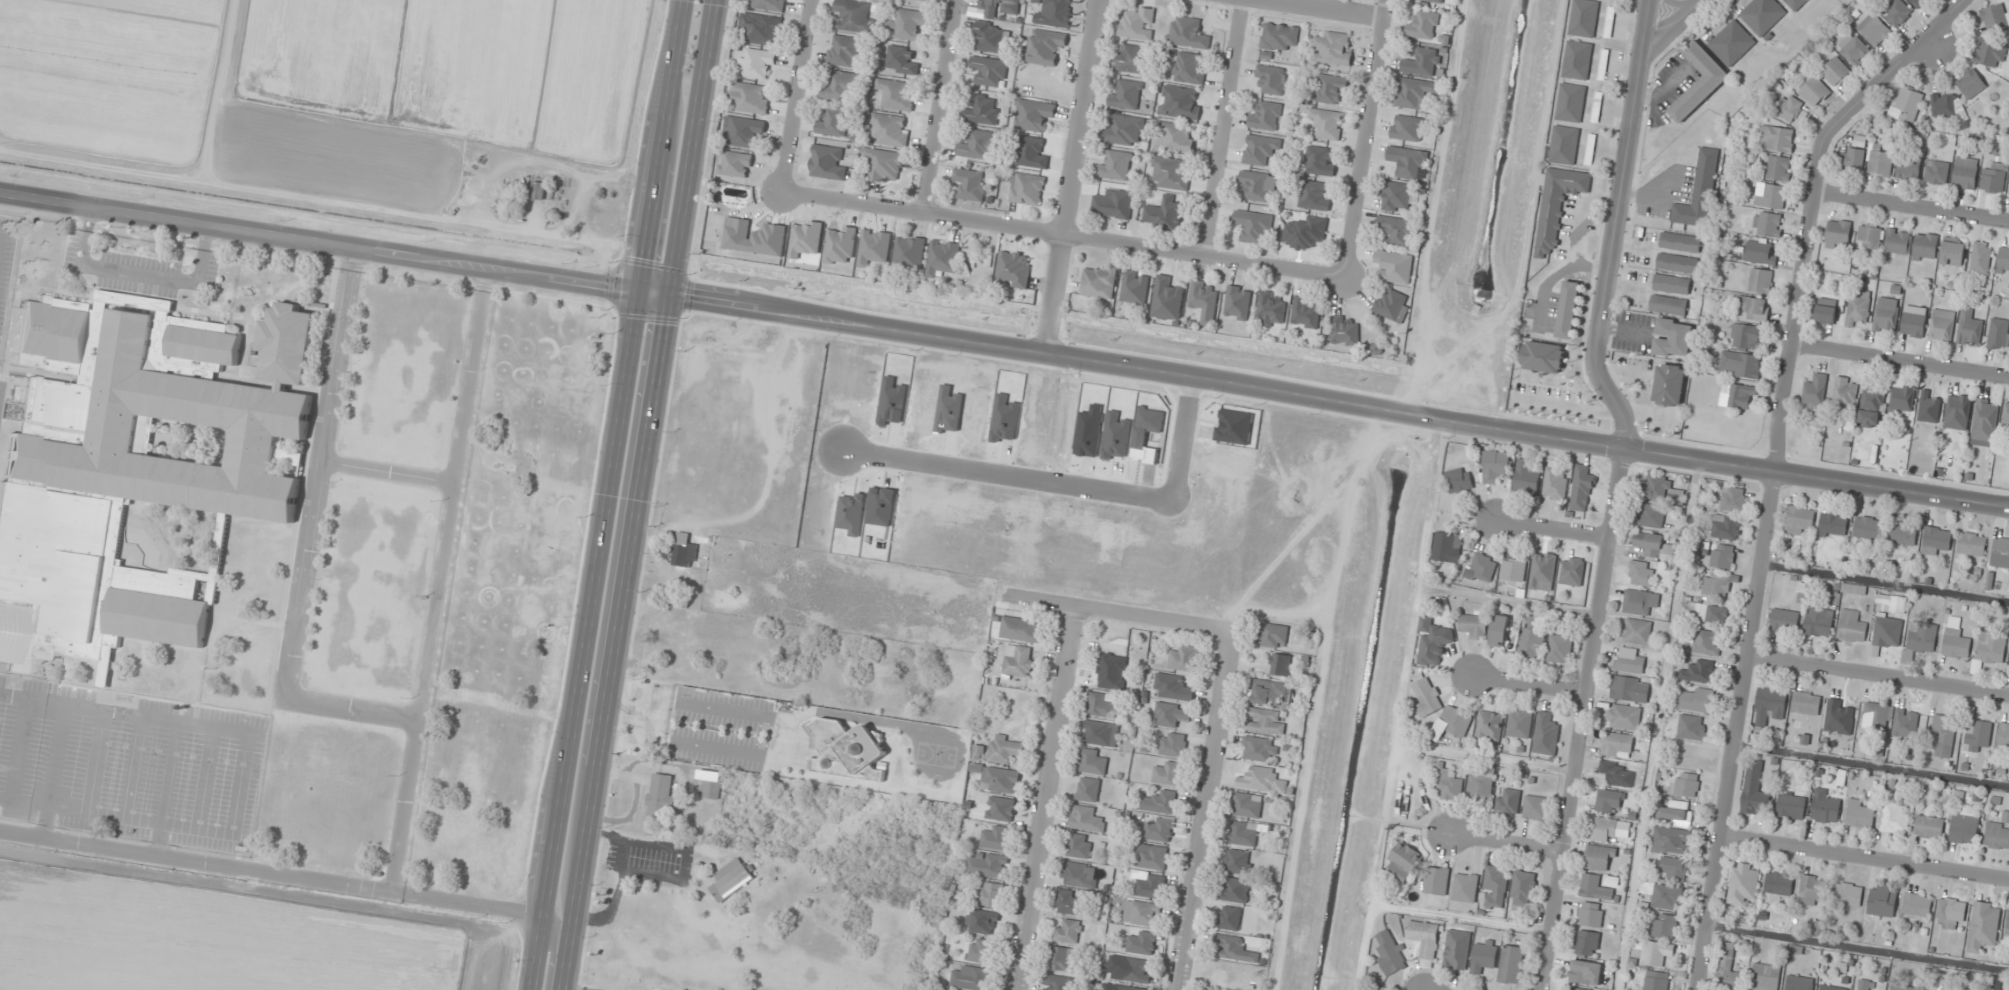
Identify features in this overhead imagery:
building: (925, 0)
building: (1431, 1)
building: (1916, 2)
building: (767, 4)
building: (1795, 4)
building: (998, 7)
road: (1324, 10)
building: (1897, 12)
building: (1055, 13)
building: (1762, 15)
building: (853, 16)
building: (1995, 16)
building: (1584, 18)
road: (1677, 22)
building: (907, 24)
building: (1138, 24)
building: (1423, 24)
building: (761, 28)
building: (1874, 29)
building: (1188, 33)
building: (1279, 36)
building: (989, 37)
building: (1732, 43)
building: (1044, 47)
building: (1333, 49)
building: (844, 50)
building: (1854, 50)
building: (1990, 54)
building: (1131, 58)
building: (901, 60)
building: (1577, 60)
building: (1422, 61)
building: (757, 64)
building: (1188, 68)
building: (988, 71)
building: (1835, 71)
building: (1270, 79)
building: (1699, 81)
building: (1970, 84)
building: (842, 87)
building: (1330, 88)
building: (1814, 91)
building: (1414, 92)
building: (895, 95)
building: (1125, 95)
road: (797, 96)
building: (750, 97)
building: (1179, 102)
building: (1571, 102)
building: (1906, 104)
building: (1945, 104)
road: (940, 106)
building: (1597, 106)
building: (1789, 107)
building: (983, 110)
building: (1034, 115)
building: (1265, 116)
building: (833, 122)
building: (1327, 123)
road: (1225, 127)
building: (1408, 127)
building: (888, 130)
building: (1123, 130)
building: (744, 131)
building: (1174, 137)
road: (1366, 138)
building: (1776, 138)
building: (978, 144)
road: (661, 145)
building: (1564, 145)
building: (1260, 149)
building: (1590, 149)
building: (1032, 152)
building: (1854, 155)
building: (1319, 161)
building: (1879, 161)
building: (1408, 162)
building: (827, 163)
building: (735, 164)
building: (884, 164)
building: (1115, 165)
building: (1908, 167)
building: (1779, 168)
building: (1171, 172)
building: (1936, 172)
building: (1965, 173)
road: (1073, 177)
building: (1993, 177)
building: (970, 184)
building: (1257, 185)
building: (1027, 189)
building: (538, 190)
building: (1699, 192)
building: (1315, 195)
building: (1771, 195)
building: (1398, 196)
building: (1114, 204)
building: (1557, 205)
road: (1911, 205)
building: (1163, 214)
building: (1767, 224)
building: (1254, 225)
road: (1612, 228)
building: (1399, 231)
road: (1063, 232)
building: (1303, 232)
building: (1838, 232)
building: (753, 237)
building: (1869, 237)
building: (805, 238)
building: (1897, 241)
road: (319, 242)
building: (1680, 242)
building: (840, 246)
building: (874, 247)
building: (1925, 247)
building: (1760, 251)
building: (1953, 251)
building: (909, 252)
building: (943, 257)
building: (1981, 258)
building: (2003, 258)
building: (1677, 262)
building: (1394, 266)
building: (1013, 269)
building: (1761, 280)
building: (1098, 281)
building: (1671, 283)
building: (1134, 286)
road: (653, 292)
traffic signals: (667, 294)
building: (1167, 299)
building: (1204, 300)
building: (1237, 303)
building: (1392, 305)
building: (1668, 305)
building: (1753, 307)
building: (1858, 307)
building: (1271, 309)
building: (1568, 309)
building: (1826, 310)
building: (1306, 312)
building: (1886, 315)
building: (1914, 321)
building: (1942, 325)
building: (1970, 328)
building: (1345, 330)
building: (1998, 334)
building: (1746, 336)
building: (1672, 338)
building: (1543, 357)
road: (1899, 359)
building: (1739, 364)
building: (1669, 384)
building: (1815, 390)
building: (1845, 392)
building: (1738, 395)
building: (1902, 398)
road: (1337, 402)
building: (1871, 405)
building: (1929, 408)
building: (1958, 411)
building: (2006, 414)
building: (1985, 422)
building: (1495, 465)
road: (1772, 466)
road: (387, 470)
building: (1526, 479)
building: (1459, 480)
building: (1555, 482)
building: (1582, 488)
building: (1661, 489)
road: (636, 494)
building: (1733, 499)
building: (1650, 515)
building: (1799, 519)
building: (1834, 524)
building: (1726, 527)
building: (1868, 527)
road: (1552, 529)
building: (1902, 532)
road: (310, 537)
building: (1936, 540)
building: (1972, 543)
building: (1654, 545)
building: (1446, 546)
building: (684, 550)
building: (2000, 552)
building: (1722, 556)
building: (1481, 567)
building: (1514, 569)
building: (1572, 570)
building: (1543, 571)
building: (1641, 573)
road: (437, 579)
road: (1886, 582)
building: (1717, 583)
road: (1506, 601)
building: (1641, 601)
building: (1892, 602)
road: (1119, 612)
building: (1708, 612)
building: (1784, 620)
building: (1819, 622)
building: (1473, 625)
building: (1852, 626)
building: (1020, 629)
building: (1499, 630)
building: (1635, 630)
building: (1888, 630)
building: (11, 633)
building: (1273, 635)
building: (1922, 636)
road: (584, 640)
building: (1434, 640)
building: (1704, 641)
building: (1532, 643)
building: (1955, 643)
building: (682, 646)
building: (1991, 647)
building: (1559, 648)
building: (1184, 658)
building: (1630, 659)
building: (1018, 660)
building: (1281, 664)
building: (1111, 671)
building: (1699, 672)
road: (1879, 675)
road: (1528, 684)
building: (1172, 687)
building: (1630, 688)
building: (1269, 692)
building: (1427, 696)
road: (13, 698)
building: (1693, 699)
building: (1806, 703)
building: (1100, 704)
road: (1398, 704)
building: (1769, 705)
road: (124, 714)
building: (1170, 714)
building: (1623, 716)
building: (1839, 716)
building: (1876, 716)
building: (1457, 720)
road: (1579, 720)
building: (1264, 721)
building: (1520, 722)
building: (1904, 724)
building: (1490, 725)
road: (1656, 725)
building: (1692, 727)
building: (1100, 732)
building: (1546, 734)
building: (1978, 735)
building: (1943, 736)
building: (2003, 738)
building: (1173, 744)
building: (1618, 744)
building: (1006, 748)
building: (1260, 749)
building: (846, 750)
road: (17, 751)
road: (1483, 756)
road: (96, 761)
building: (1093, 761)
road: (1872, 765)
road: (133, 767)
building: (1168, 772)
building: (1618, 773)
road: (207, 778)
building: (1001, 779)
building: (1263, 780)
building: (1449, 784)
building: (1687, 784)
building: (714, 785)
building: (1480, 787)
building: (1088, 789)
building: (1755, 789)
road: (1043, 797)
building: (661, 798)
road: (4, 800)
building: (1608, 800)
building: (1508, 801)
building: (1161, 802)
building: (1247, 805)
building: (1791, 806)
building: (1825, 806)
building: (1001, 808)
building: (1536, 808)
road: (1205, 810)
building: (1676, 811)
building: (1860, 814)
building: (1894, 818)
building: (1086, 819)
building: (1964, 825)
building: (1929, 827)
building: (1160, 828)
building: (1604, 829)
road: (226, 832)
building: (1244, 833)
building: (1997, 835)
building: (995, 837)
building: (1671, 840)
road: (1505, 842)
building: (1079, 845)
building: (1153, 857)
building: (1599, 857)
road: (1866, 857)
building: (1238, 861)
building: (1404, 861)
building: (987, 864)
building: (1673, 868)
road: (270, 872)
building: (1077, 874)
building: (732, 878)
building: (1436, 880)
building: (1743, 882)
building: (1779, 882)
building: (1151, 886)
building: (1495, 886)
building: (1465, 887)
building: (1595, 888)
building: (1813, 888)
building: (1234, 889)
building: (1522, 890)
building: (1849, 893)
building: (990, 894)
building: (1666, 897)
building: (1882, 900)
building: (1069, 902)
building: (1917, 904)
building: (1950, 912)
building: (1143, 913)
building: (1591, 914)
road: (1461, 917)
building: (1229, 918)
building: (2008, 921)
building: (982, 922)
building: (1665, 925)
building: (1983, 926)
building: (1068, 930)
building: (1424, 937)
building: (1142, 942)
building: (1587, 943)
road: (1859, 946)
building: (1235, 948)
building: (1457, 949)
building: (980, 950)
building: (1390, 952)
building: (1655, 952)
road: (551, 953)
building: (1483, 955)
building: (1061, 958)
building: (1511, 964)
building: (1137, 970)
building: (1728, 970)
building: (1585, 972)
building: (970, 977)
building: (1765, 977)
building: (1657, 980)
building: (1058, 982)
building: (1799, 982)
building: (1864, 984)
building: (1833, 987)
building: (1903, 987)
building: (1128, 988)
building: (1576, 988)
building: (1965, 989)

